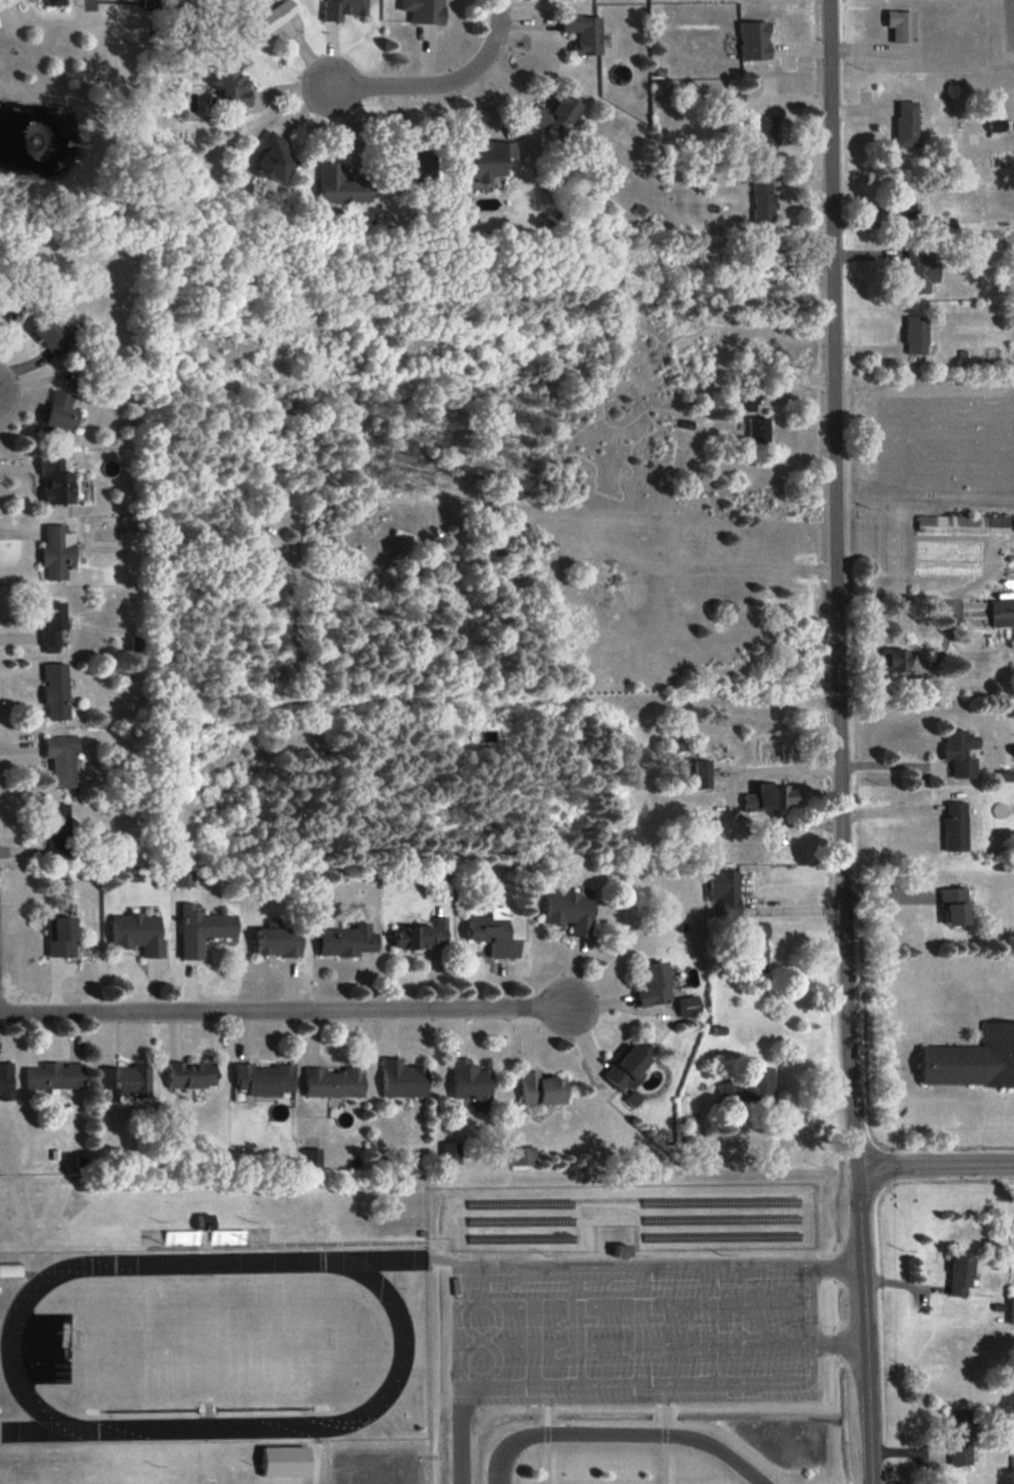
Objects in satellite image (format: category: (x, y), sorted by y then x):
building: (52, 2)
building: (342, 8)
building: (423, 10)
building: (268, 18)
building: (900, 25)
building: (583, 32)
building: (752, 40)
road: (441, 81)
building: (229, 91)
building: (734, 102)
building: (555, 115)
building: (906, 123)
building: (999, 126)
building: (764, 135)
building: (273, 157)
building: (488, 160)
building: (409, 162)
building: (341, 185)
building: (762, 197)
building: (904, 212)
building: (765, 252)
building: (919, 270)
building: (4, 314)
building: (51, 334)
building: (916, 334)
building: (745, 402)
building: (60, 412)
building: (758, 429)
building: (55, 480)
building: (962, 523)
building: (57, 551)
building: (1001, 612)
building: (51, 625)
road: (944, 632)
building: (893, 659)
building: (55, 690)
road: (840, 742)
building: (959, 752)
building: (61, 758)
road: (893, 765)
building: (701, 773)
building: (1005, 775)
building: (769, 797)
building: (954, 825)
building: (56, 829)
building: (182, 877)
building: (725, 891)
building: (953, 905)
building: (570, 912)
building: (201, 929)
building: (137, 933)
building: (492, 933)
building: (420, 935)
building: (60, 936)
building: (345, 940)
building: (276, 941)
building: (757, 946)
building: (653, 984)
building: (688, 1005)
road: (292, 1007)
building: (972, 1060)
building: (629, 1064)
building: (190, 1074)
building: (53, 1076)
building: (402, 1078)
building: (127, 1080)
building: (261, 1080)
building: (469, 1080)
building: (5, 1081)
building: (332, 1082)
building: (748, 1086)
building: (540, 1089)
building: (633, 1097)
building: (450, 1152)
building: (523, 1155)
building: (311, 1157)
road: (936, 1162)
road: (838, 1264)
building: (10, 1269)
building: (960, 1275)
road: (811, 1283)
road: (459, 1286)
building: (1012, 1310)
road: (812, 1322)
road: (841, 1342)
track: (209, 1345)
road: (460, 1382)
road: (623, 1435)
building: (961, 1436)

